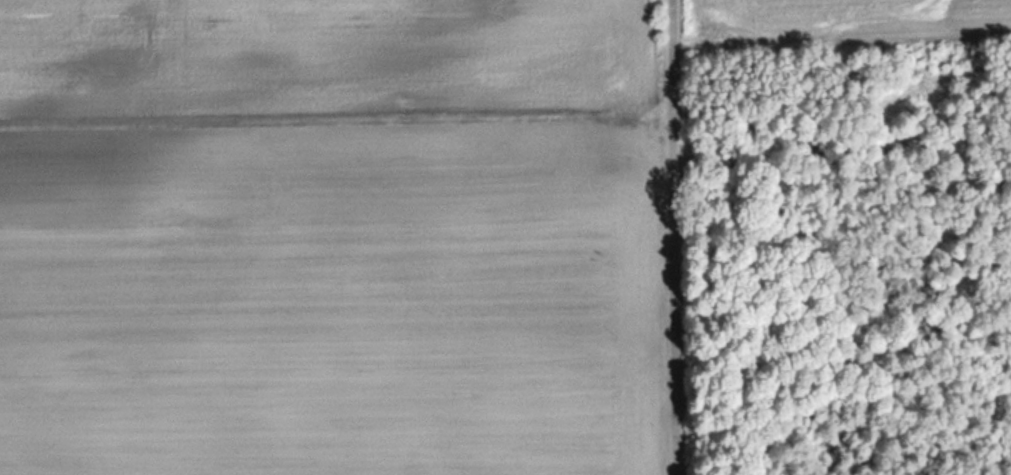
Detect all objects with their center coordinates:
road: (675, 237)

